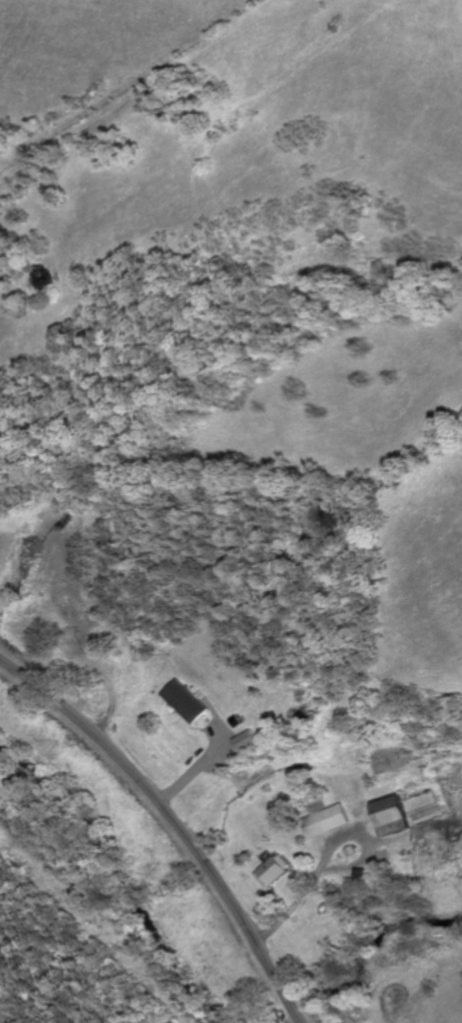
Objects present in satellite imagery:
building: (185, 701)
building: (247, 741)
road: (201, 766)
building: (394, 815)
road: (177, 819)
building: (330, 821)
building: (278, 870)

